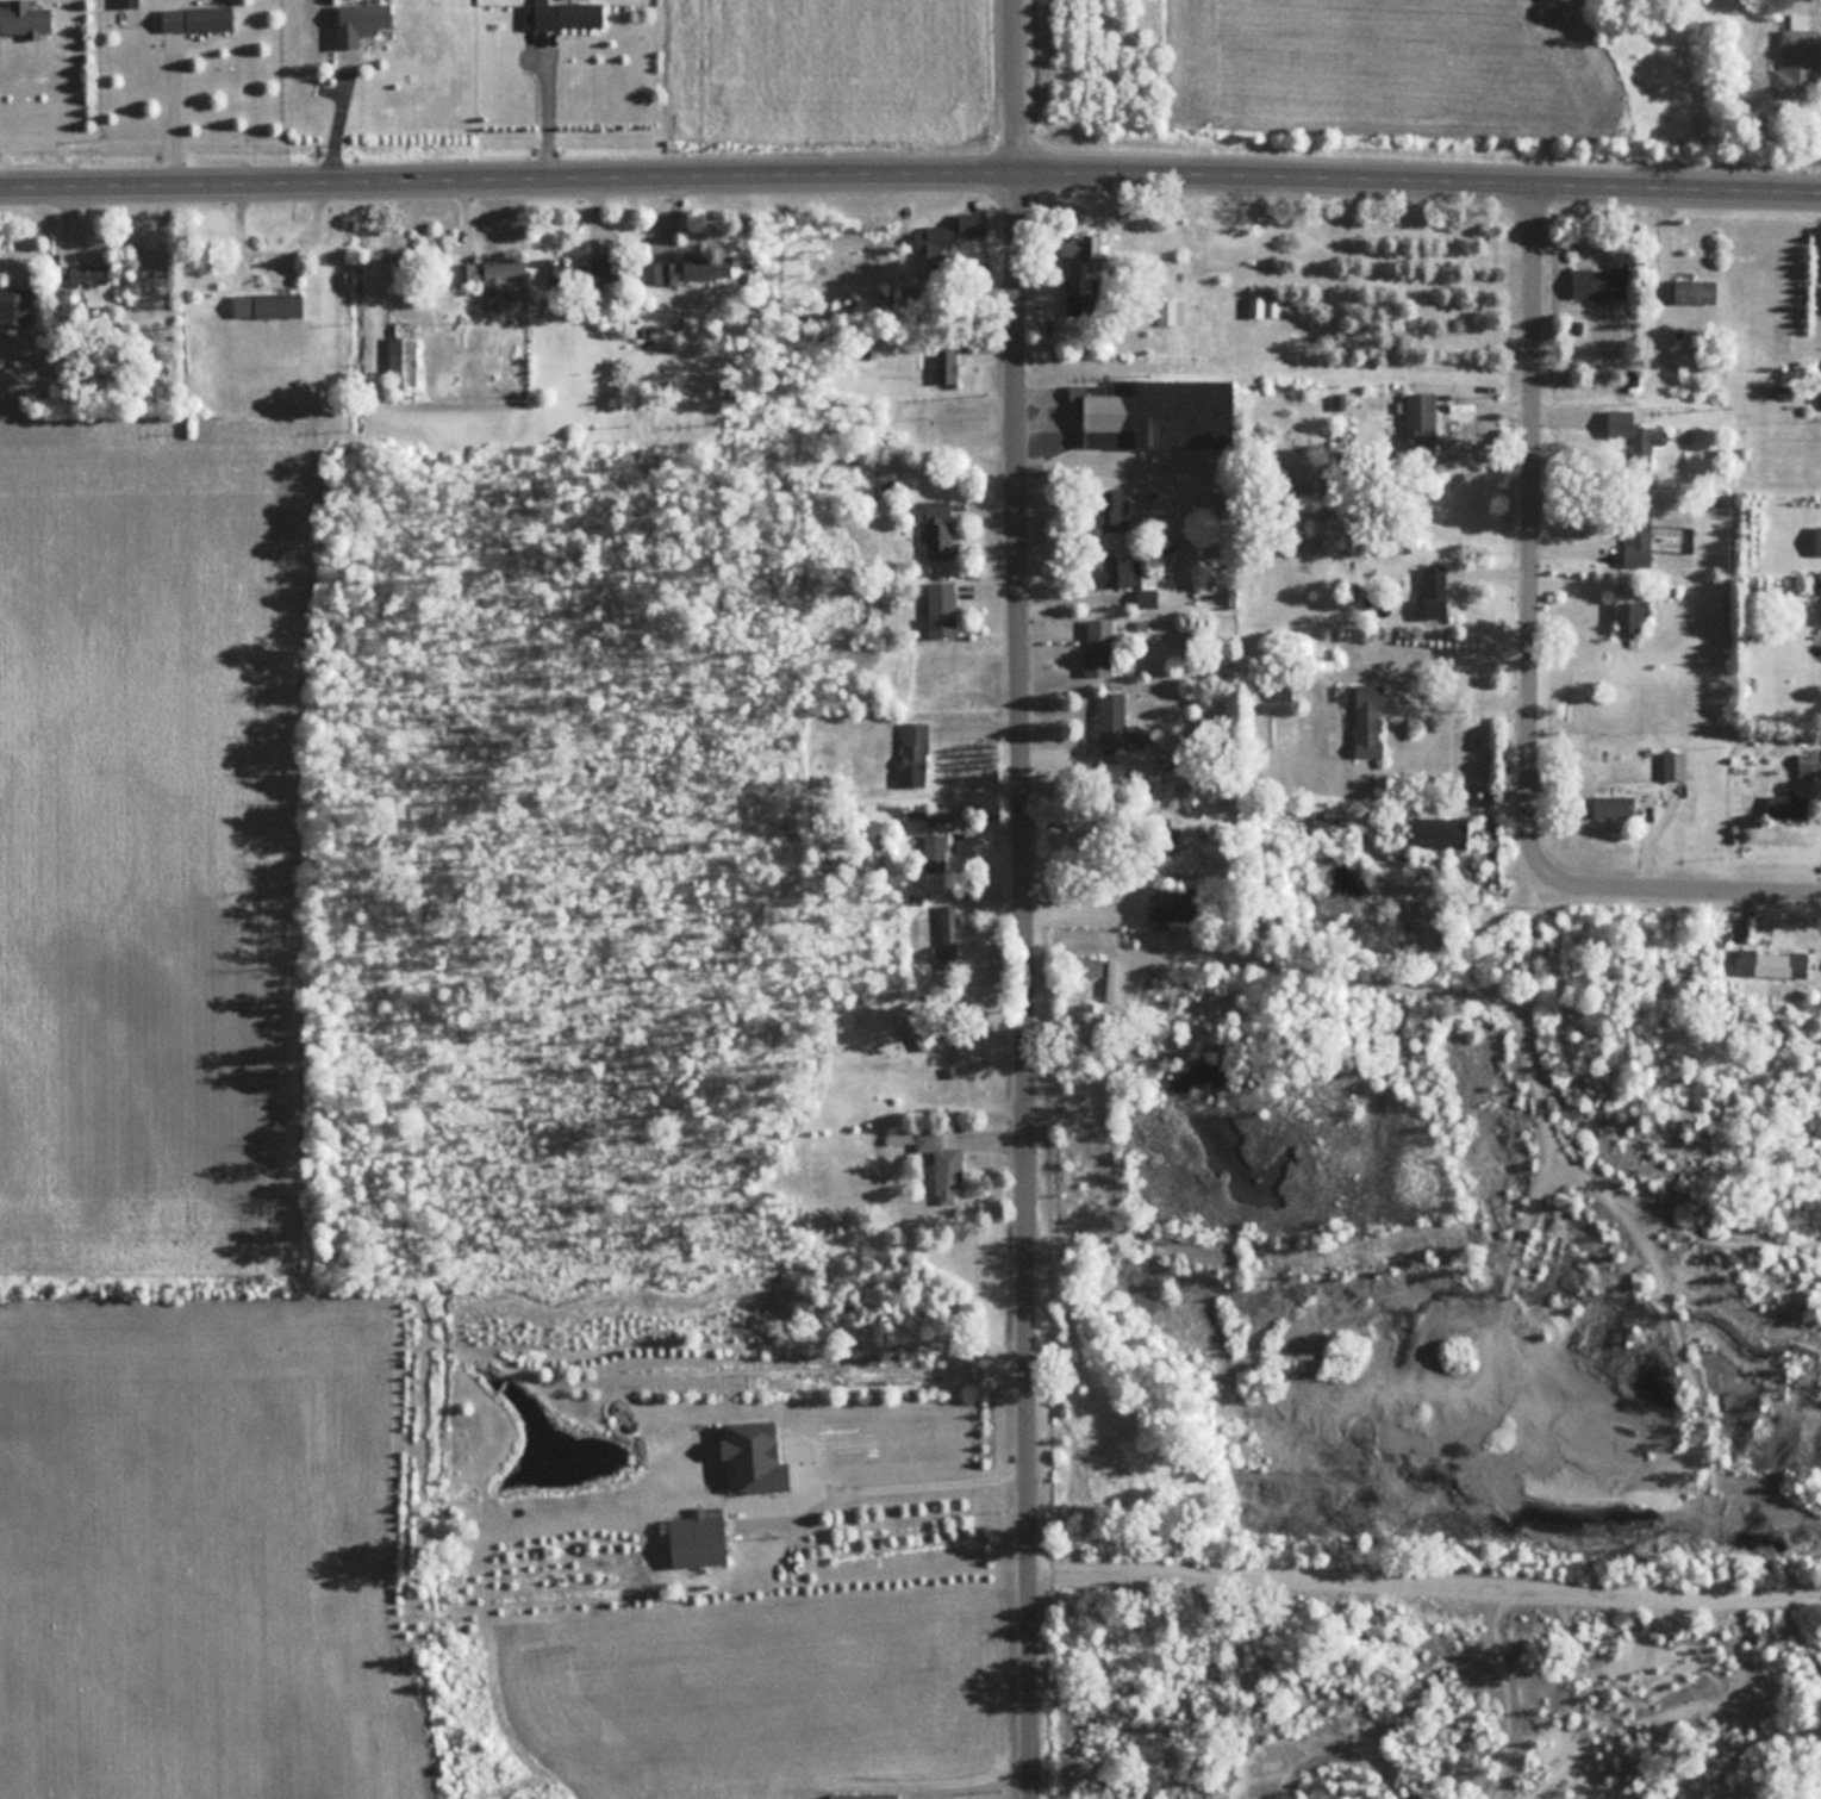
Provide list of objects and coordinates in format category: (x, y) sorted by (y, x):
building: (126, 2)
building: (568, 14)
building: (25, 17)
building: (198, 18)
building: (362, 21)
building: (1798, 62)
road: (173, 101)
road: (549, 107)
road: (910, 176)
building: (959, 228)
building: (688, 268)
building: (599, 270)
building: (1081, 272)
building: (492, 274)
building: (89, 275)
building: (1601, 281)
building: (1695, 291)
building: (13, 304)
building: (268, 305)
building: (1256, 306)
building: (403, 360)
building: (946, 361)
building: (1160, 412)
building: (1422, 416)
building: (1619, 424)
building: (1114, 508)
building: (938, 527)
building: (1640, 536)
building: (1817, 539)
building: (1128, 577)
building: (1435, 589)
building: (942, 606)
building: (1632, 614)
building: (1098, 645)
road: (1530, 671)
road: (1463, 692)
building: (1370, 718)
building: (1116, 722)
building: (913, 752)
building: (1807, 757)
building: (1675, 764)
building: (1788, 803)
building: (1614, 805)
building: (1441, 830)
road: (1022, 899)
building: (1173, 903)
building: (1773, 961)
building: (913, 1021)
building: (754, 1456)
road: (877, 1473)
building: (698, 1538)
road: (1443, 1560)
building: (865, 1797)

